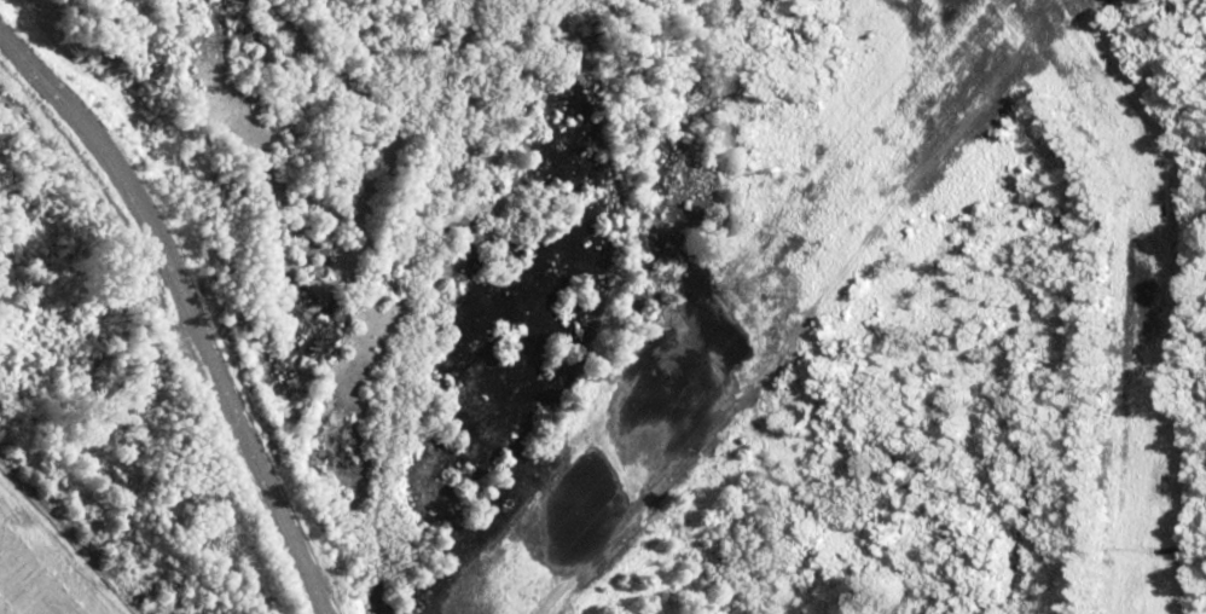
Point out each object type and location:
power tower: (779, 285)

